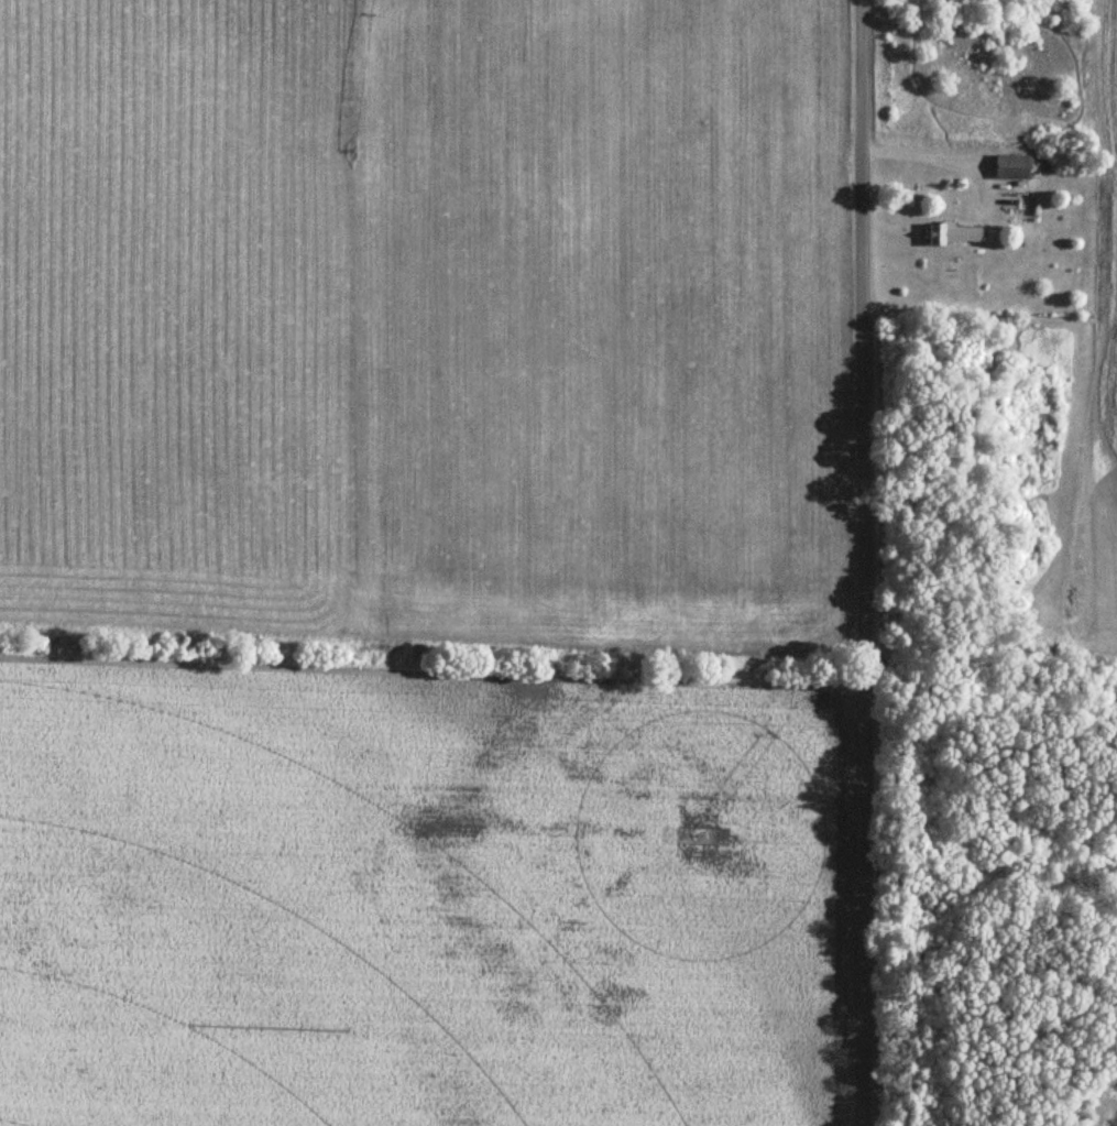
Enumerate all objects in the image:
road: (923, 157)
building: (1010, 166)
building: (953, 233)
road: (865, 562)

